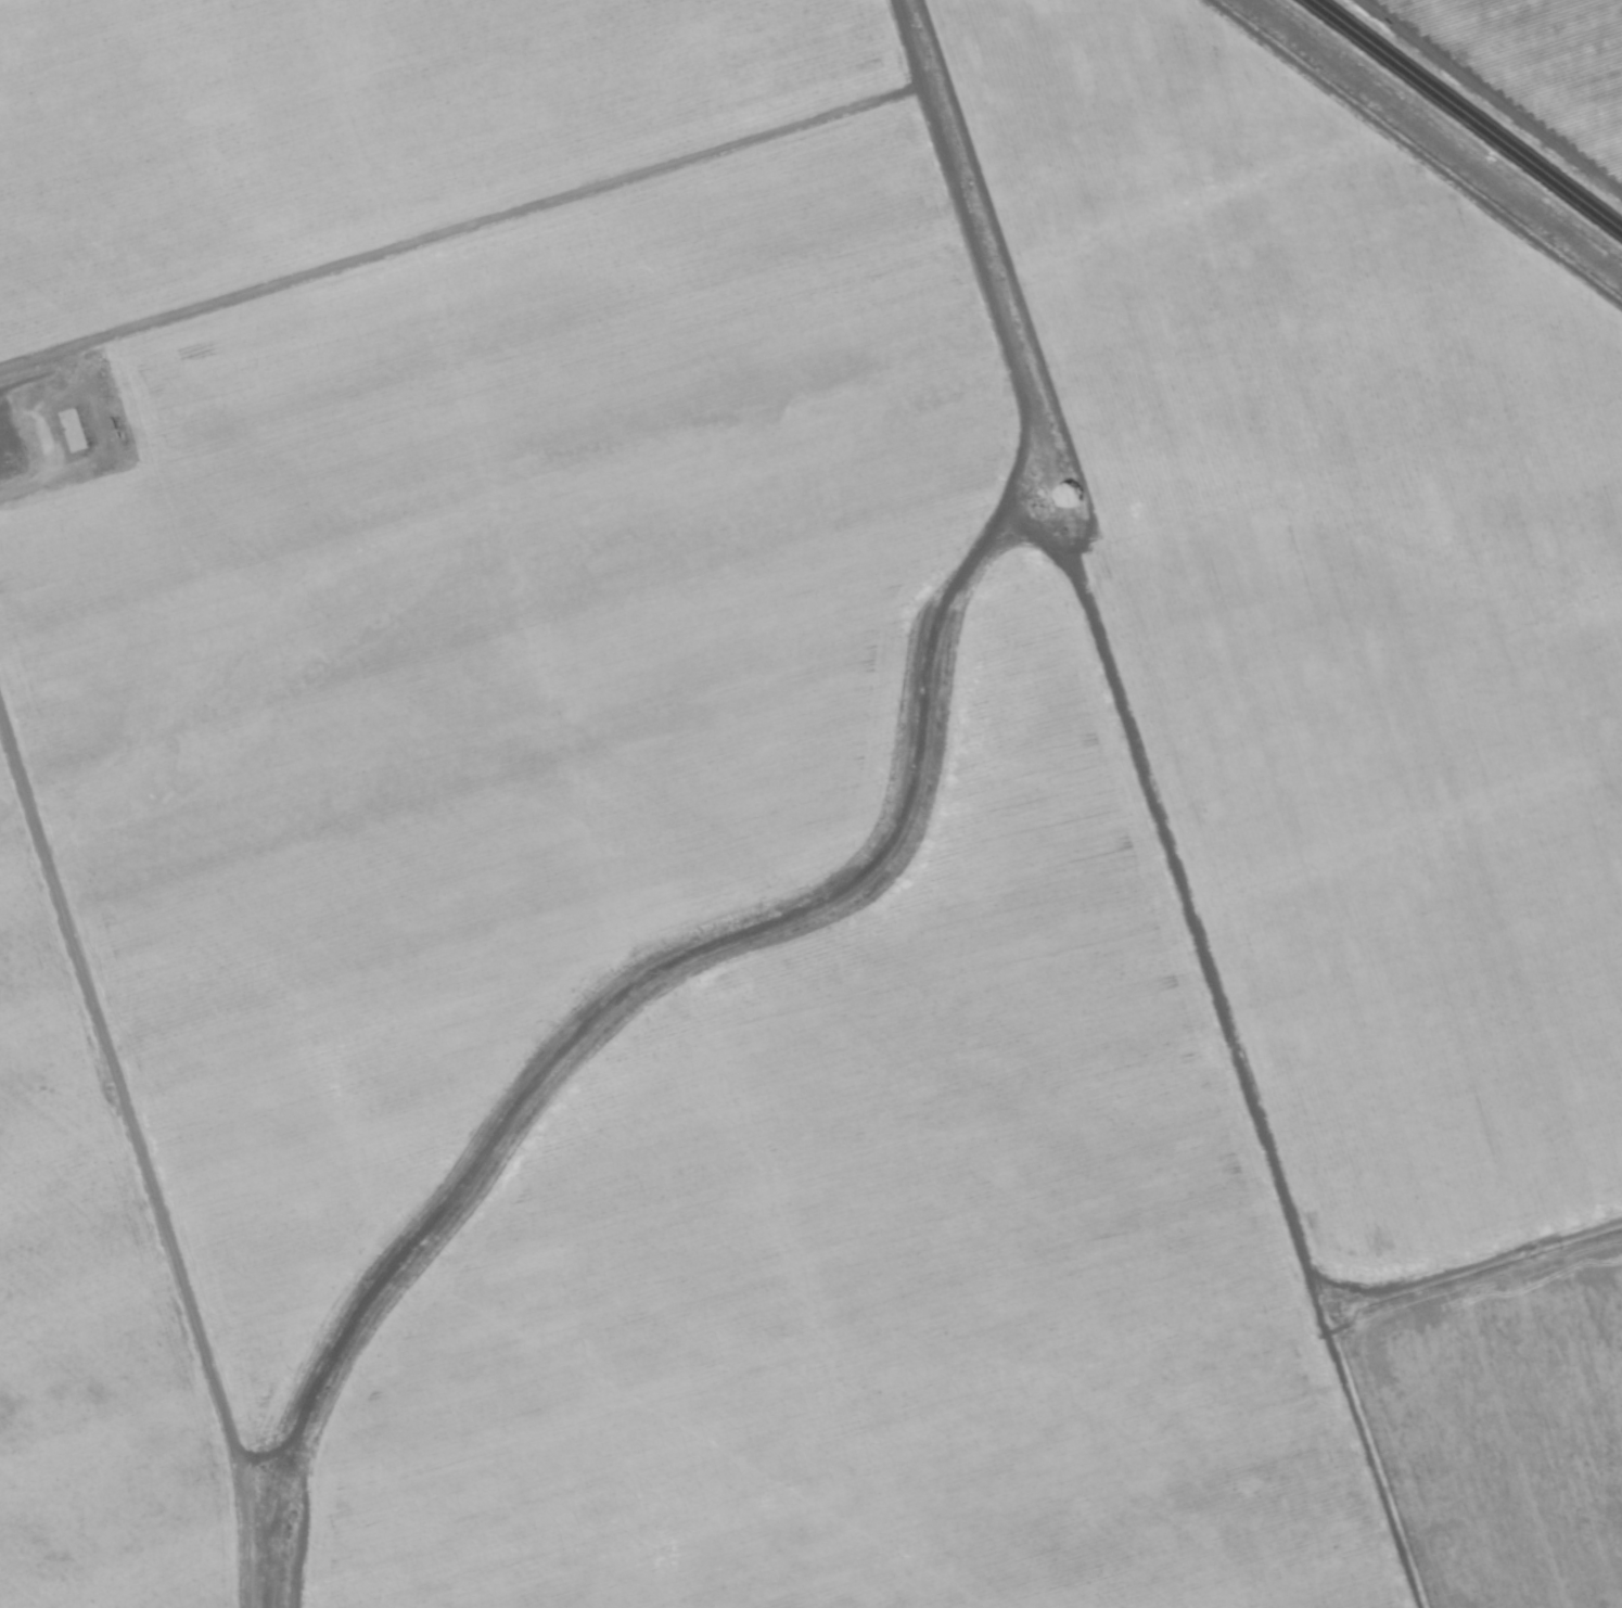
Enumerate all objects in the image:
road: (1467, 114)
building: (74, 431)
building: (97, 454)
crop: (810, 804)

